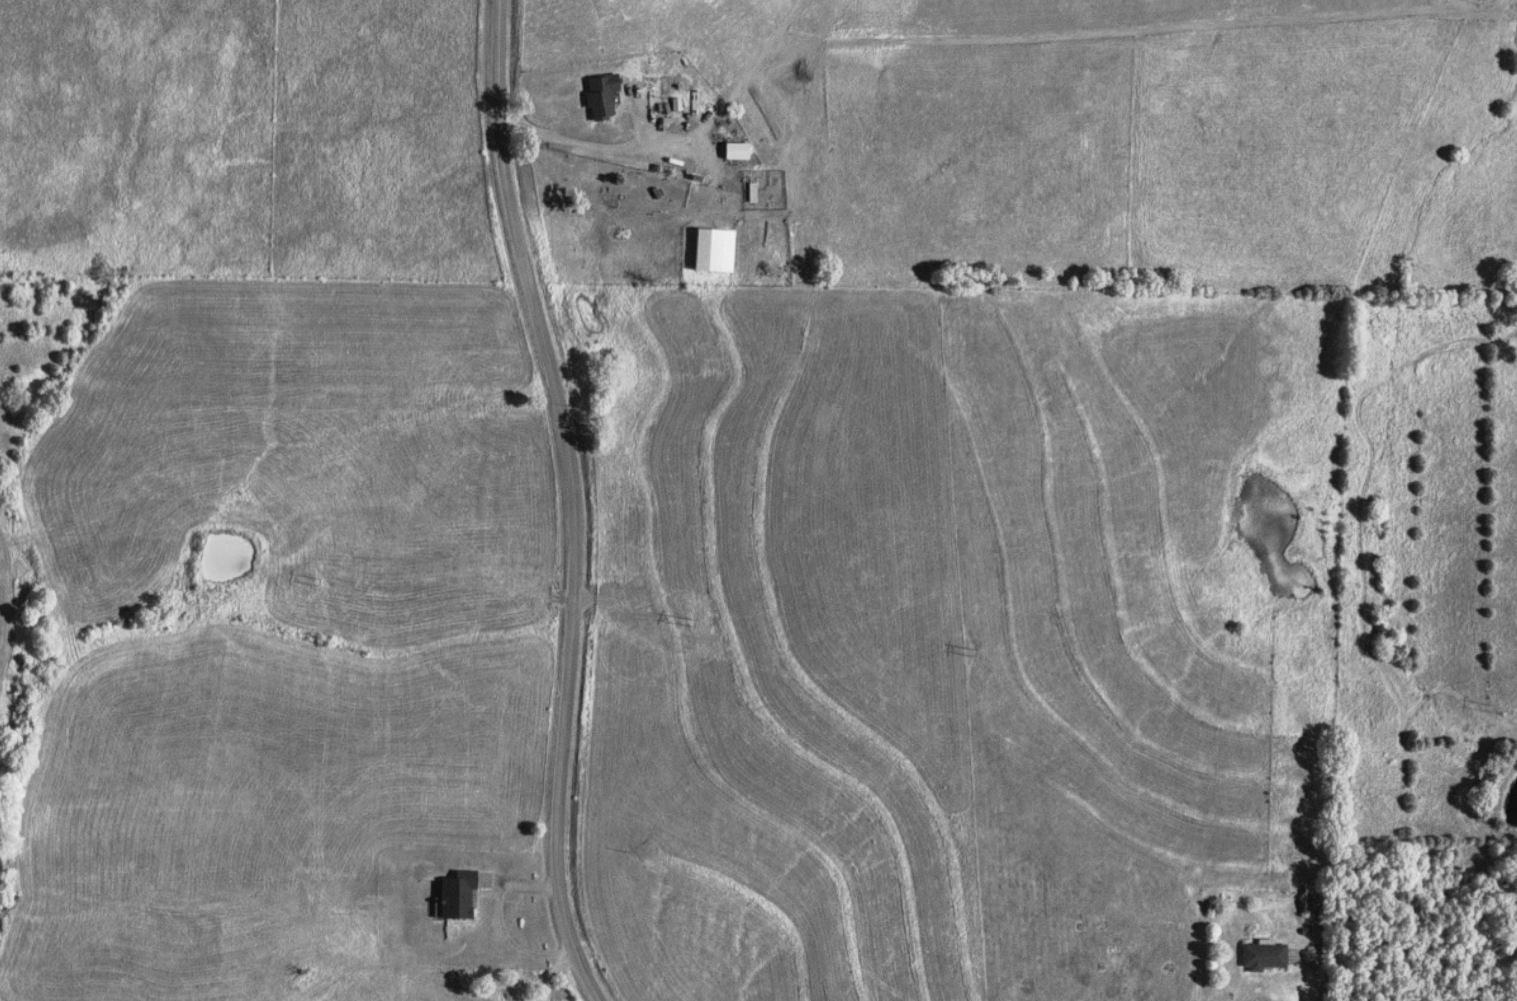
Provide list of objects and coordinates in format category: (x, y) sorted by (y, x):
road: (1141, 27)
building: (602, 96)
road: (688, 141)
building: (736, 151)
building: (713, 251)
road: (574, 472)
building: (457, 894)
building: (1312, 898)
road: (503, 916)
building: (1264, 954)
road: (557, 972)
road: (1322, 973)
road: (588, 975)

